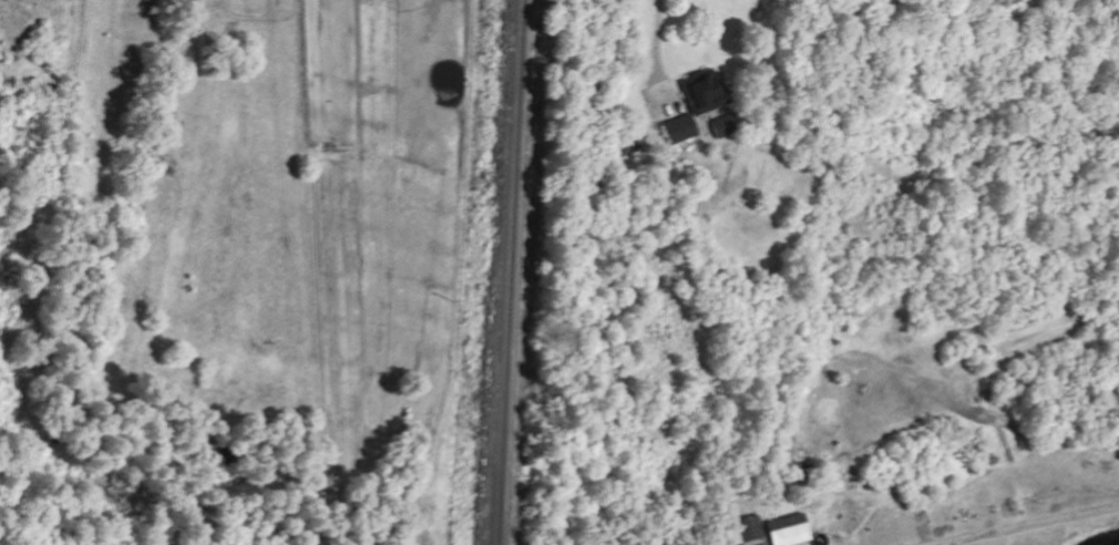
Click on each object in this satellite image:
building: (699, 104)
building: (728, 126)
building: (10, 128)
railway: (515, 272)
building: (789, 528)

